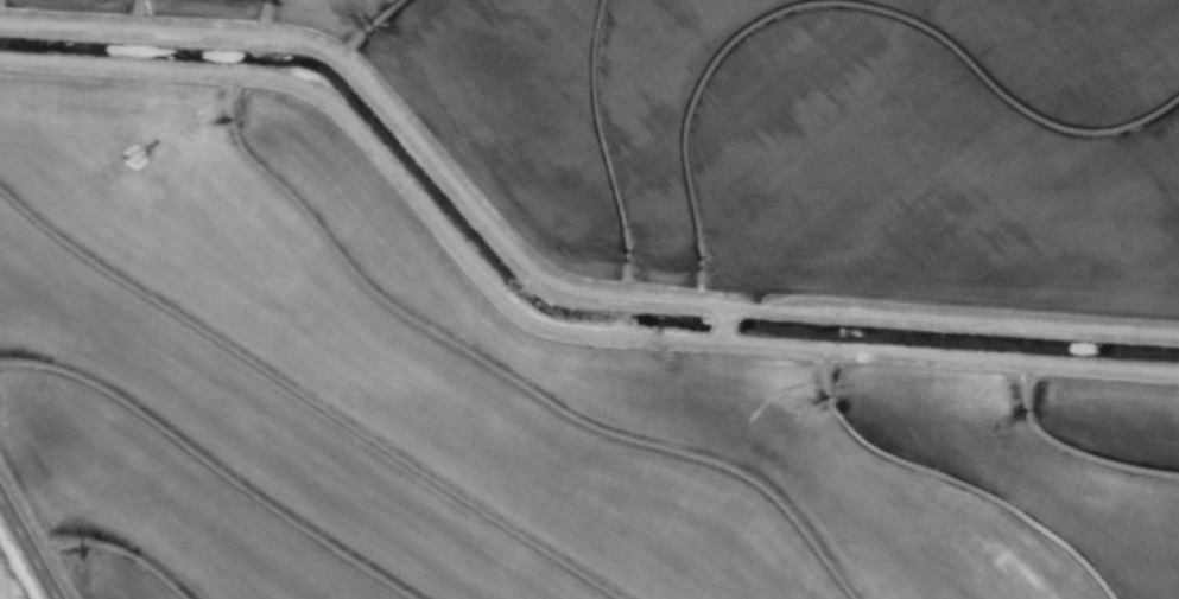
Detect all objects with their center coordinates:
power tower: (141, 164)
crop: (589, 299)
road: (537, 326)
road: (31, 541)

